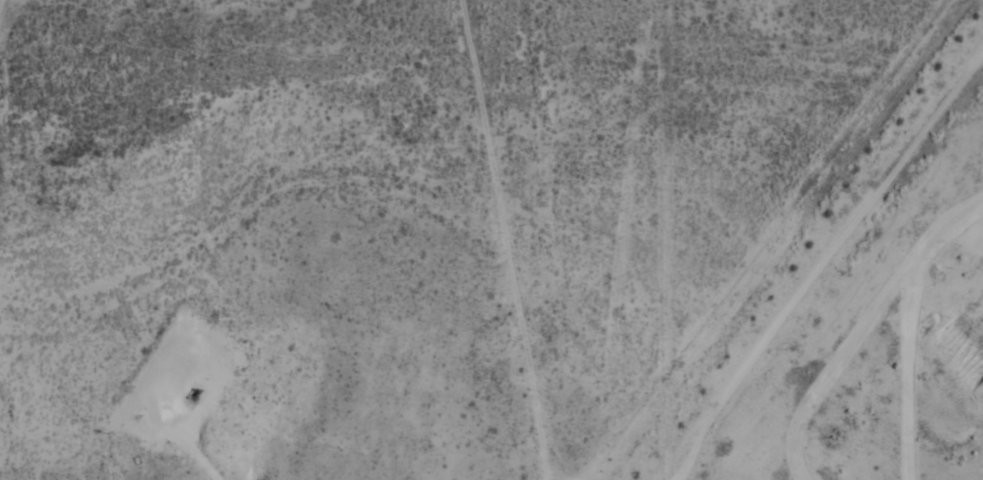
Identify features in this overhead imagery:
road: (784, 250)
road: (191, 444)

